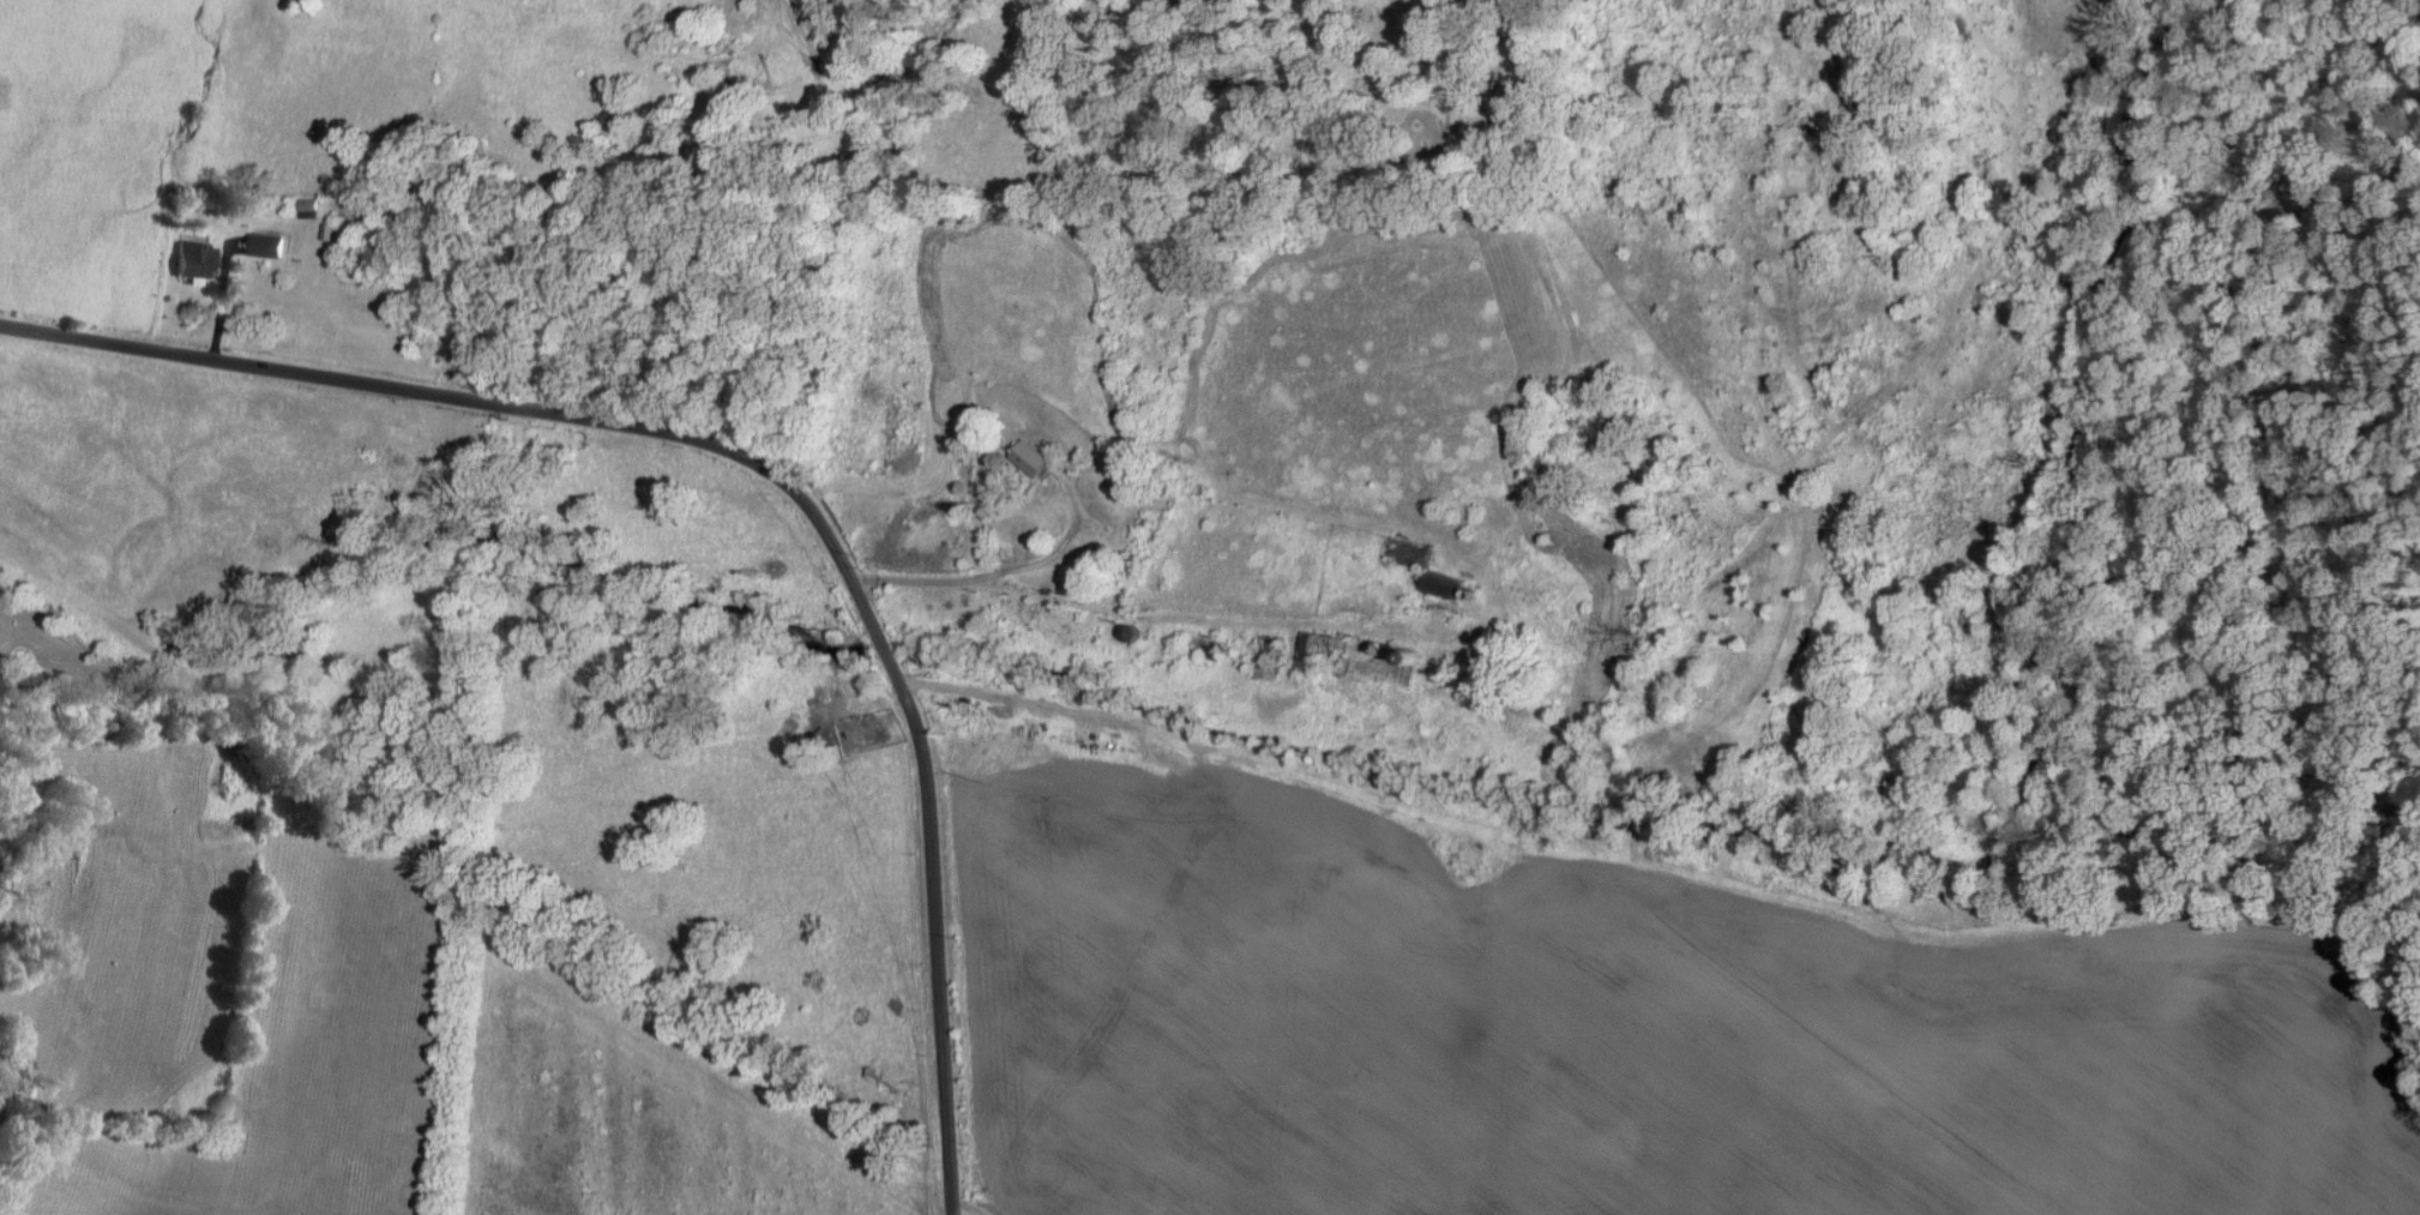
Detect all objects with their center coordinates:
building: (266, 243)
building: (194, 259)
building: (1033, 457)
road: (767, 474)
building: (1445, 583)

